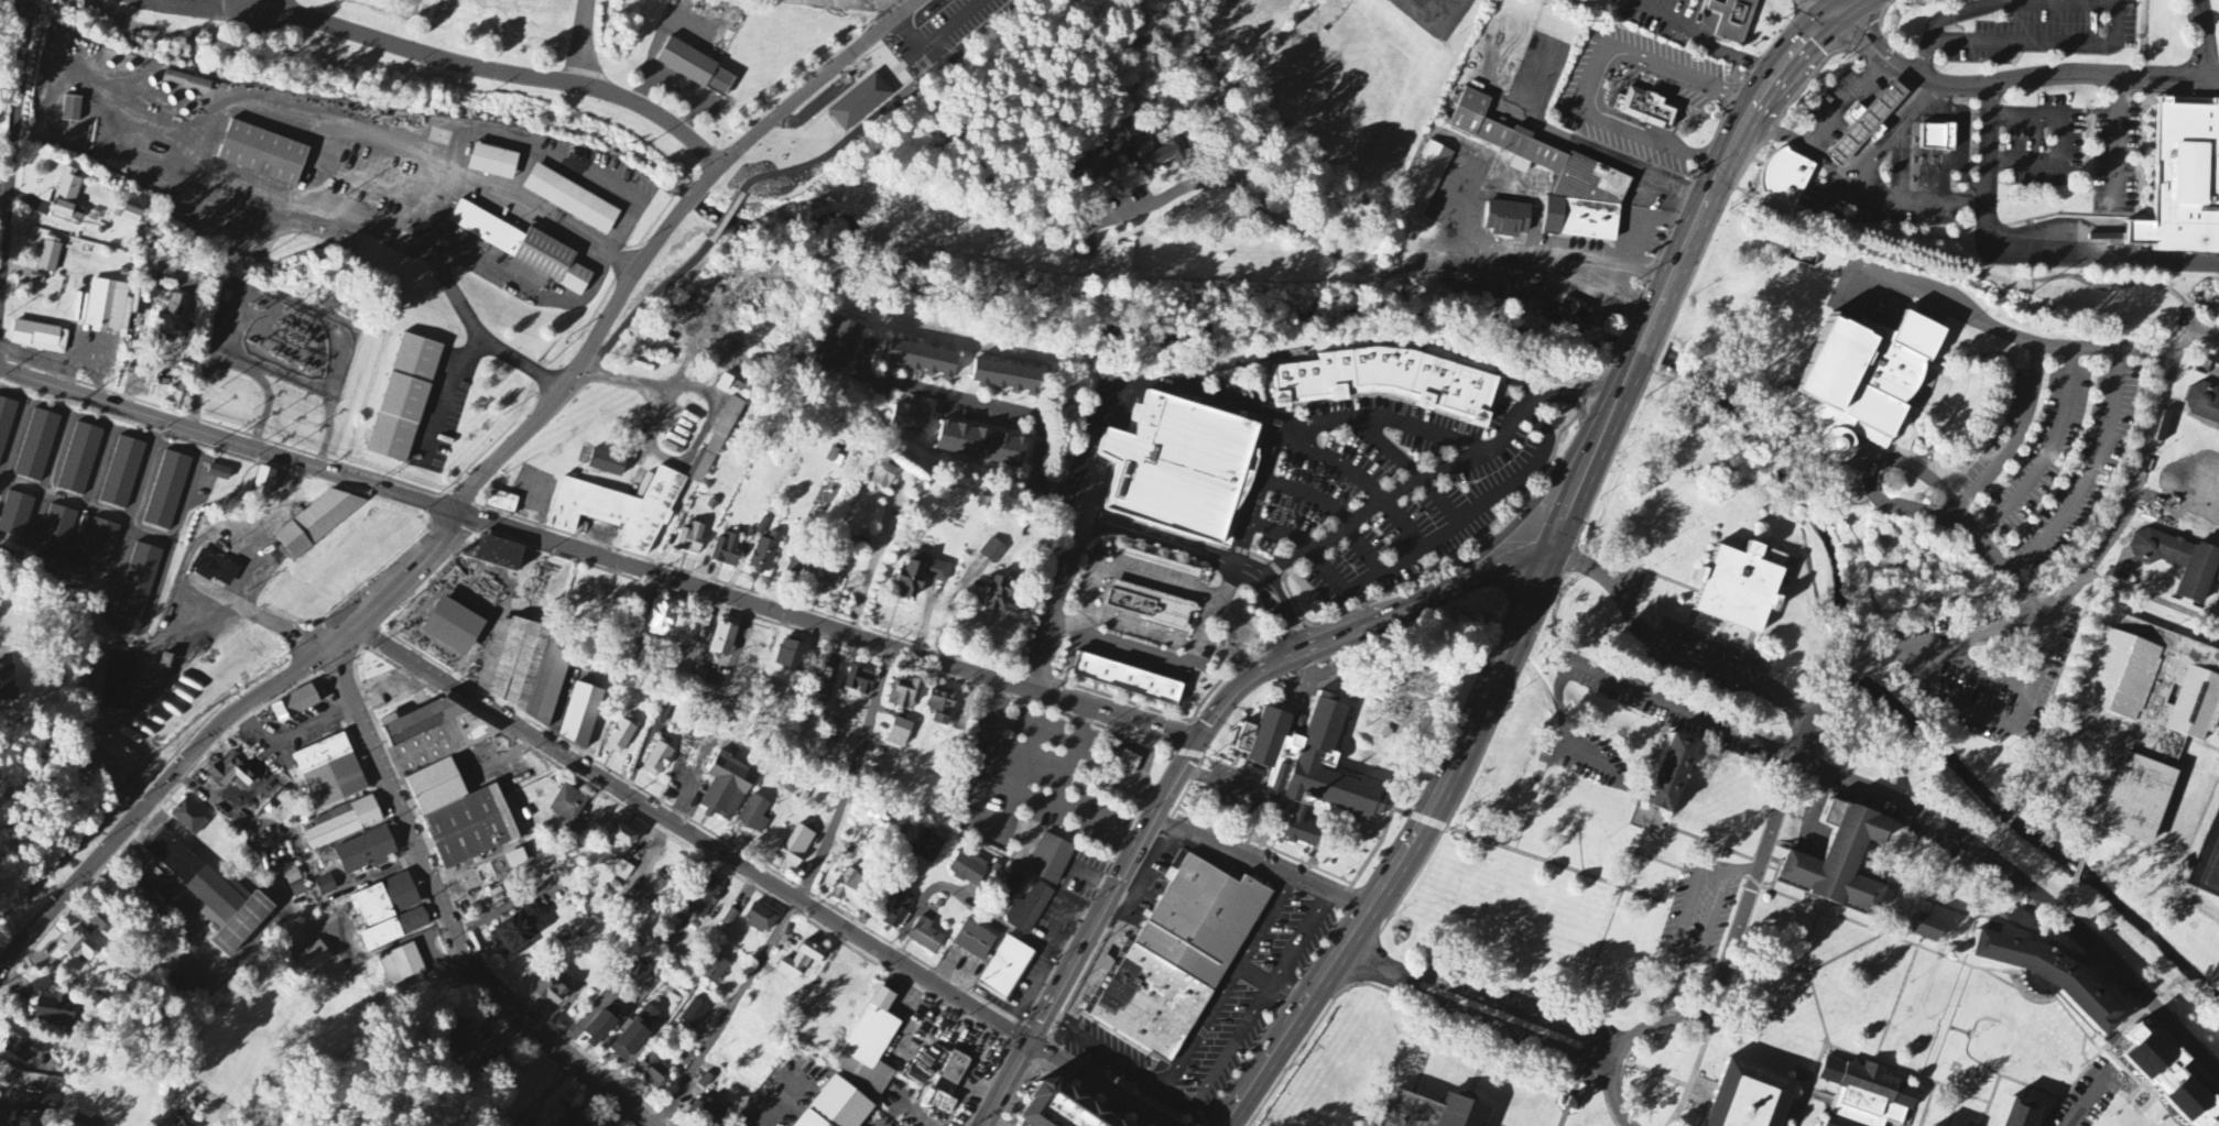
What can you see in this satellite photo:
road: (2109, 1)
road: (196, 3)
road: (1836, 3)
road: (199, 7)
traffic signals: (1842, 7)
road: (886, 12)
parking lot: (1662, 17)
building: (1733, 19)
road: (1448, 20)
road: (1665, 20)
road: (1709, 20)
parking lot: (944, 26)
parking lot: (2047, 28)
road: (2146, 37)
road: (2205, 39)
road: (580, 42)
road: (1740, 56)
road: (496, 68)
building: (696, 68)
road: (1596, 77)
road: (2015, 79)
road: (806, 92)
building: (861, 96)
parking lot: (1836, 97)
parking lot: (1693, 99)
road: (1846, 102)
road: (872, 109)
building: (1645, 109)
building: (70, 110)
building: (1868, 123)
gas station: (1868, 123)
road: (1777, 132)
road: (199, 133)
road: (1893, 134)
building: (1938, 136)
road: (2062, 139)
parking lot: (2044, 140)
road: (2119, 143)
building: (1125, 147)
building: (263, 150)
road: (535, 150)
road: (199, 155)
parking lot: (2119, 157)
building: (494, 158)
road: (1897, 164)
road: (11, 165)
road: (325, 165)
road: (1772, 165)
road: (1825, 167)
road: (521, 173)
building: (1426, 176)
building: (1786, 177)
building: (2185, 181)
building: (1547, 183)
parking lot: (1461, 192)
road: (248, 193)
road: (1813, 195)
building: (67, 196)
building: (573, 196)
road: (692, 196)
road: (4, 198)
road: (1914, 199)
road: (533, 204)
road: (1707, 205)
parking lot: (1849, 208)
building: (130, 216)
road: (724, 219)
building: (61, 220)
parking lot: (1643, 231)
road: (1641, 241)
building: (525, 248)
road: (2021, 252)
road: (1535, 253)
building: (48, 258)
road: (622, 260)
road: (651, 304)
building: (171, 317)
building: (1569, 317)
road: (2009, 334)
building: (39, 338)
power substation: (281, 338)
building: (839, 342)
building: (920, 354)
road: (581, 369)
building: (1004, 372)
building: (1389, 379)
building: (1866, 384)
building: (732, 387)
road: (1598, 390)
road: (445, 391)
road: (1112, 396)
building: (404, 398)
building: (2204, 404)
road: (1236, 405)
road: (1586, 413)
building: (909, 415)
road: (1281, 420)
building: (6, 423)
road: (1323, 425)
road: (2017, 436)
building: (716, 441)
building: (980, 441)
building: (36, 447)
road: (2048, 455)
building: (79, 460)
building: (1183, 462)
building: (607, 463)
road: (1038, 463)
building: (218, 473)
road: (2091, 473)
building: (122, 474)
building: (883, 477)
road: (1417, 478)
building: (262, 484)
road: (1871, 484)
building: (166, 491)
road: (1578, 494)
building: (501, 503)
building: (619, 512)
building: (14, 515)
building: (315, 523)
road: (1513, 523)
building: (57, 529)
road: (1453, 529)
building: (689, 539)
road: (554, 542)
building: (99, 543)
building: (726, 550)
building: (992, 551)
road: (1212, 554)
building: (498, 555)
building: (764, 555)
traffic signals: (1554, 555)
road: (1998, 559)
building: (2180, 559)
building: (835, 562)
road: (873, 562)
building: (1160, 565)
building: (796, 567)
building: (214, 569)
road: (1483, 569)
building: (59, 571)
building: (920, 575)
road: (1480, 582)
building: (1741, 582)
building: (138, 583)
road: (2074, 584)
building: (997, 595)
building: (1151, 603)
road: (1211, 610)
road: (255, 615)
building: (660, 617)
building: (452, 628)
building: (722, 639)
road: (1510, 642)
road: (1120, 643)
road: (1673, 646)
road: (7, 647)
building: (792, 656)
parking lot: (1708, 660)
building: (523, 669)
building: (1123, 675)
building: (826, 676)
road: (1611, 677)
building: (858, 684)
building: (7, 686)
building: (905, 695)
road: (1364, 700)
building: (294, 706)
building: (940, 708)
road: (1351, 712)
building: (661, 713)
parking lot: (1671, 714)
building: (580, 715)
building: (2144, 715)
road: (1405, 718)
building: (1301, 722)
road: (1155, 723)
road: (1035, 730)
road: (1358, 733)
building: (898, 734)
road: (216, 735)
building: (621, 736)
traffic signals: (1199, 737)
road: (1338, 748)
parking lot: (1590, 750)
road: (1073, 756)
building: (659, 759)
building: (1306, 763)
building: (1128, 764)
building: (231, 773)
building: (329, 773)
building: (1569, 778)
building: (447, 783)
building: (727, 789)
road: (1247, 791)
road: (1280, 801)
building: (568, 806)
road: (2020, 808)
road: (1301, 809)
road: (1155, 815)
building: (754, 816)
building: (188, 819)
road: (1269, 821)
road: (994, 822)
road: (1344, 823)
building: (342, 824)
building: (622, 838)
road: (2089, 840)
road: (1317, 841)
road: (1714, 843)
building: (796, 848)
building: (927, 848)
building: (365, 853)
road: (1532, 854)
building: (1049, 857)
building: (1842, 859)
road: (1660, 860)
road: (1304, 861)
building: (523, 863)
road: (1263, 864)
stadium: (2207, 866)
road: (1743, 868)
building: (968, 871)
road: (2078, 871)
road: (761, 879)
building: (294, 883)
building: (1012, 885)
road: (2028, 886)
building: (325, 887)
building: (849, 887)
building: (211, 895)
road: (801, 896)
building: (706, 899)
road: (1377, 905)
building: (1027, 907)
parking lot: (1701, 908)
building: (895, 911)
building: (390, 912)
road: (1715, 914)
road: (1994, 916)
road: (445, 917)
road: (1891, 917)
building: (762, 918)
road: (1743, 918)
building: (101, 922)
building: (643, 923)
building: (1929, 925)
building: (514, 936)
building: (925, 937)
road: (1606, 937)
road: (410, 938)
building: (973, 938)
building: (76, 948)
building: (1179, 954)
building: (314, 958)
road: (1954, 959)
building: (802, 960)
building: (1005, 966)
building: (401, 968)
building: (715, 972)
building: (2051, 973)
building: (635, 974)
road: (1675, 984)
building: (547, 994)
road: (1291, 997)
road: (1897, 999)
road: (1480, 1007)
building: (56, 1009)
road: (1819, 1009)
building: (694, 1016)
road: (1253, 1017)
parking lot: (1508, 1018)
road: (1949, 1024)
building: (599, 1029)
road: (1961, 1031)
building: (635, 1034)
traffic signals: (1030, 1041)
building: (458, 1043)
building: (867, 1047)
building: (17, 1049)
road: (1103, 1049)
building: (496, 1057)
road: (1698, 1062)
road: (2112, 1067)
building: (654, 1072)
road: (1995, 1072)
road: (1907, 1073)
building: (2169, 1078)
building: (705, 1082)
building: (949, 1083)
building: (44, 1085)
building: (1867, 1093)
road: (1614, 1095)
building: (1751, 1095)
road: (1246, 1097)
road: (1153, 1098)
road: (1570, 1101)
building: (1570, 1105)
building: (836, 1106)
building: (1065, 1107)
building: (1429, 1111)
building: (2022, 1111)
building: (708, 1114)
building: (574, 1117)
building: (25, 1119)
building: (516, 1123)
building: (184, 1124)
building: (1936, 1125)

